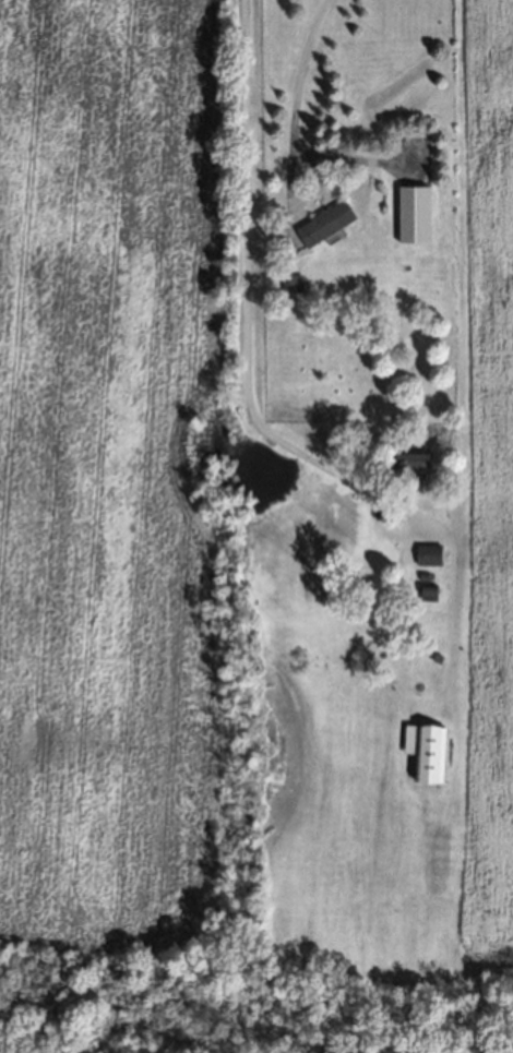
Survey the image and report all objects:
road: (290, 108)
building: (406, 211)
building: (322, 219)
building: (289, 279)
road: (242, 296)
building: (286, 303)
building: (410, 460)
building: (427, 552)
building: (420, 572)
building: (425, 589)
building: (433, 655)
building: (420, 746)

